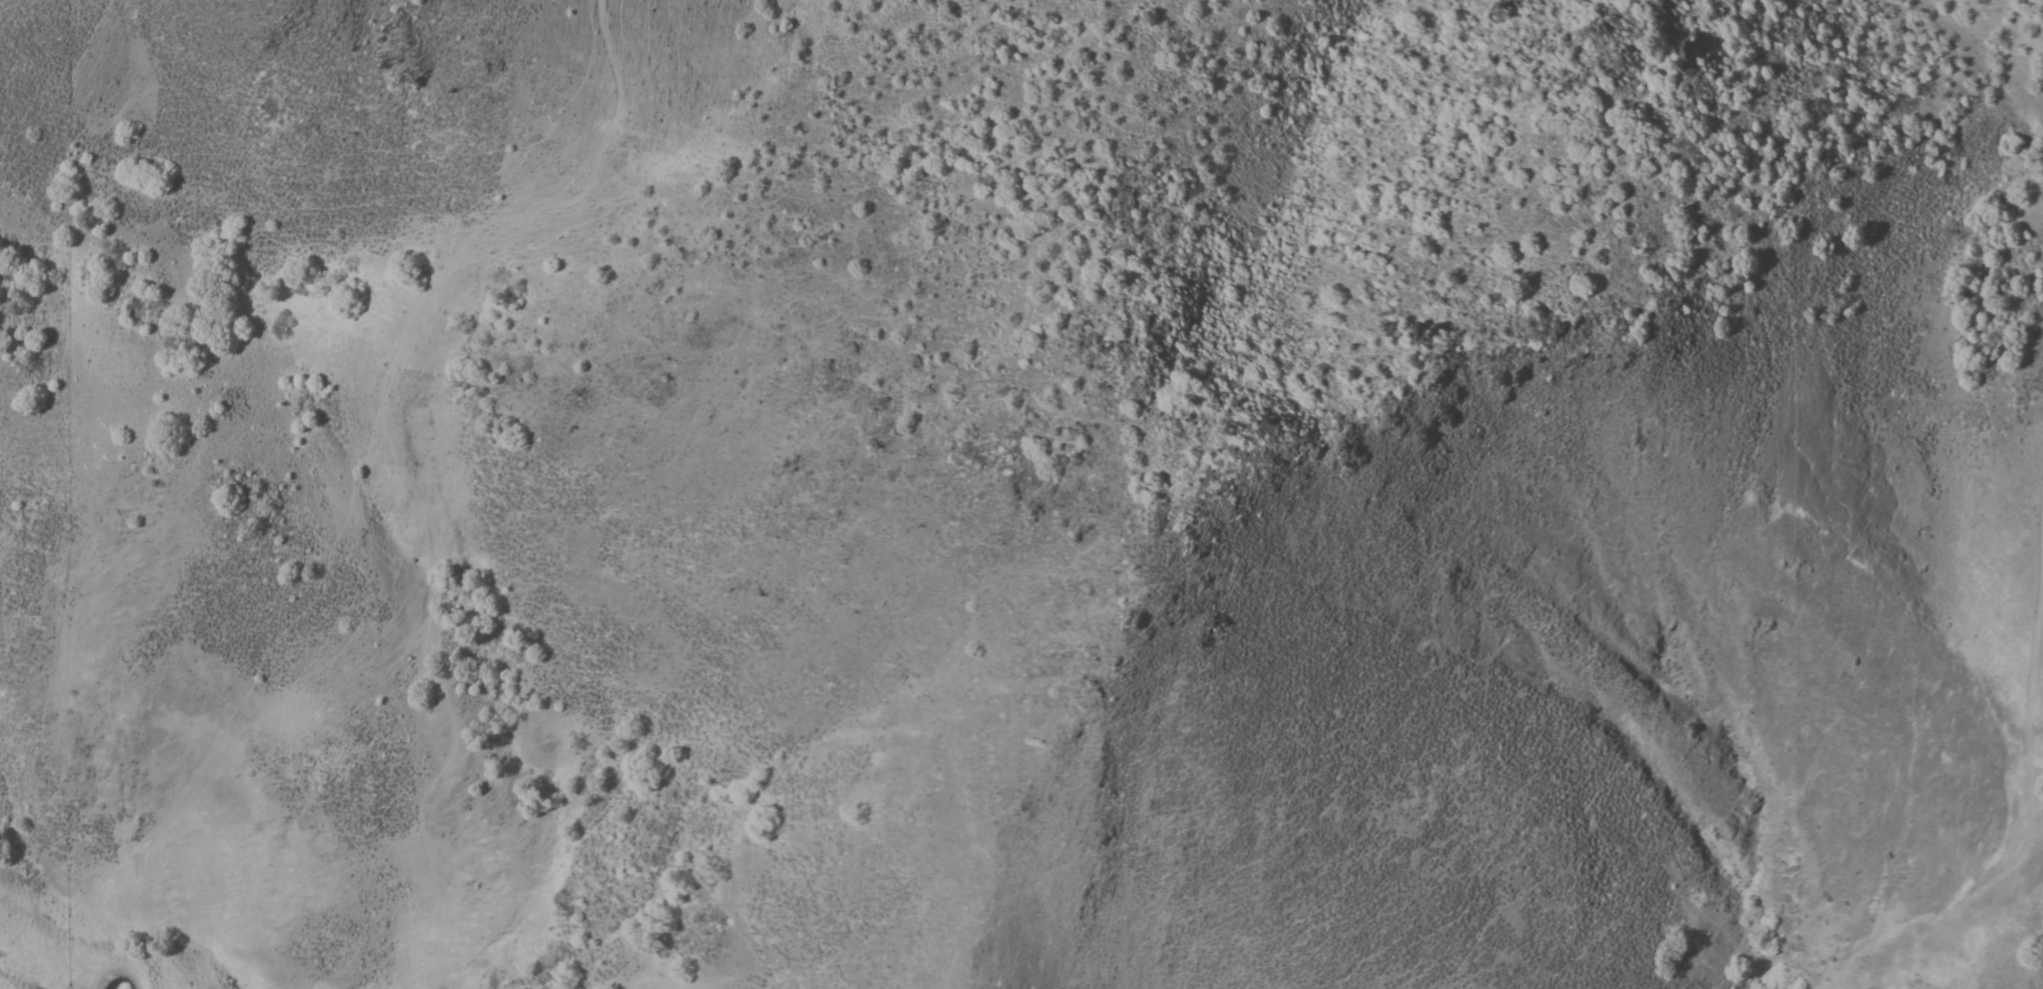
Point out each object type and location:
road: (2036, 624)
road: (2033, 746)
road: (2020, 856)

